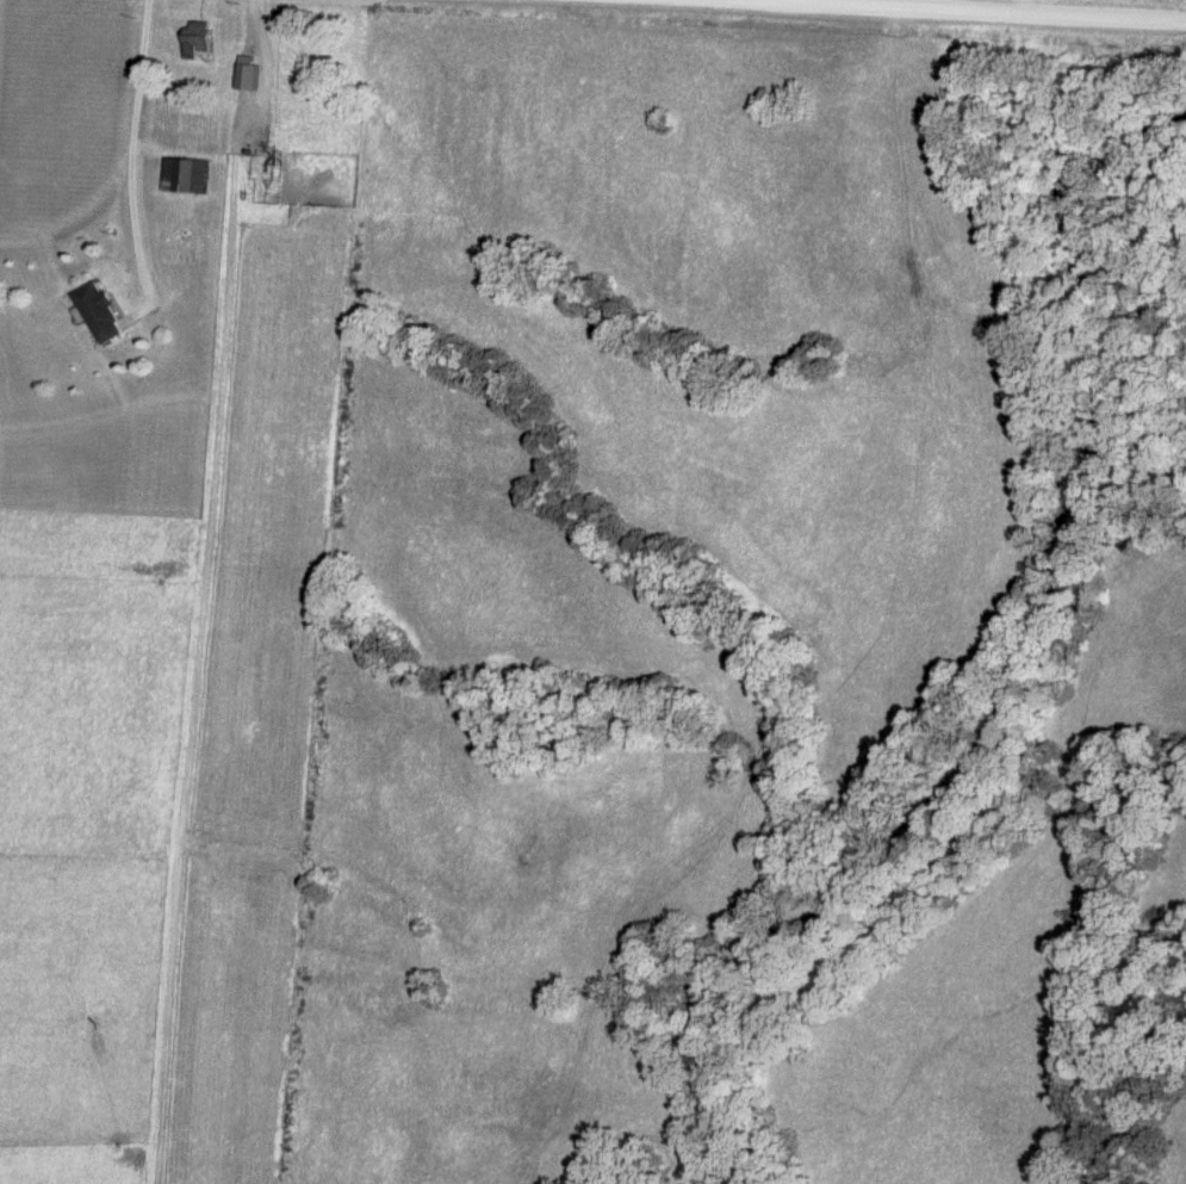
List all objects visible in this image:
road: (980, 12)
building: (194, 41)
building: (249, 79)
road: (135, 174)
building: (186, 175)
building: (94, 312)

